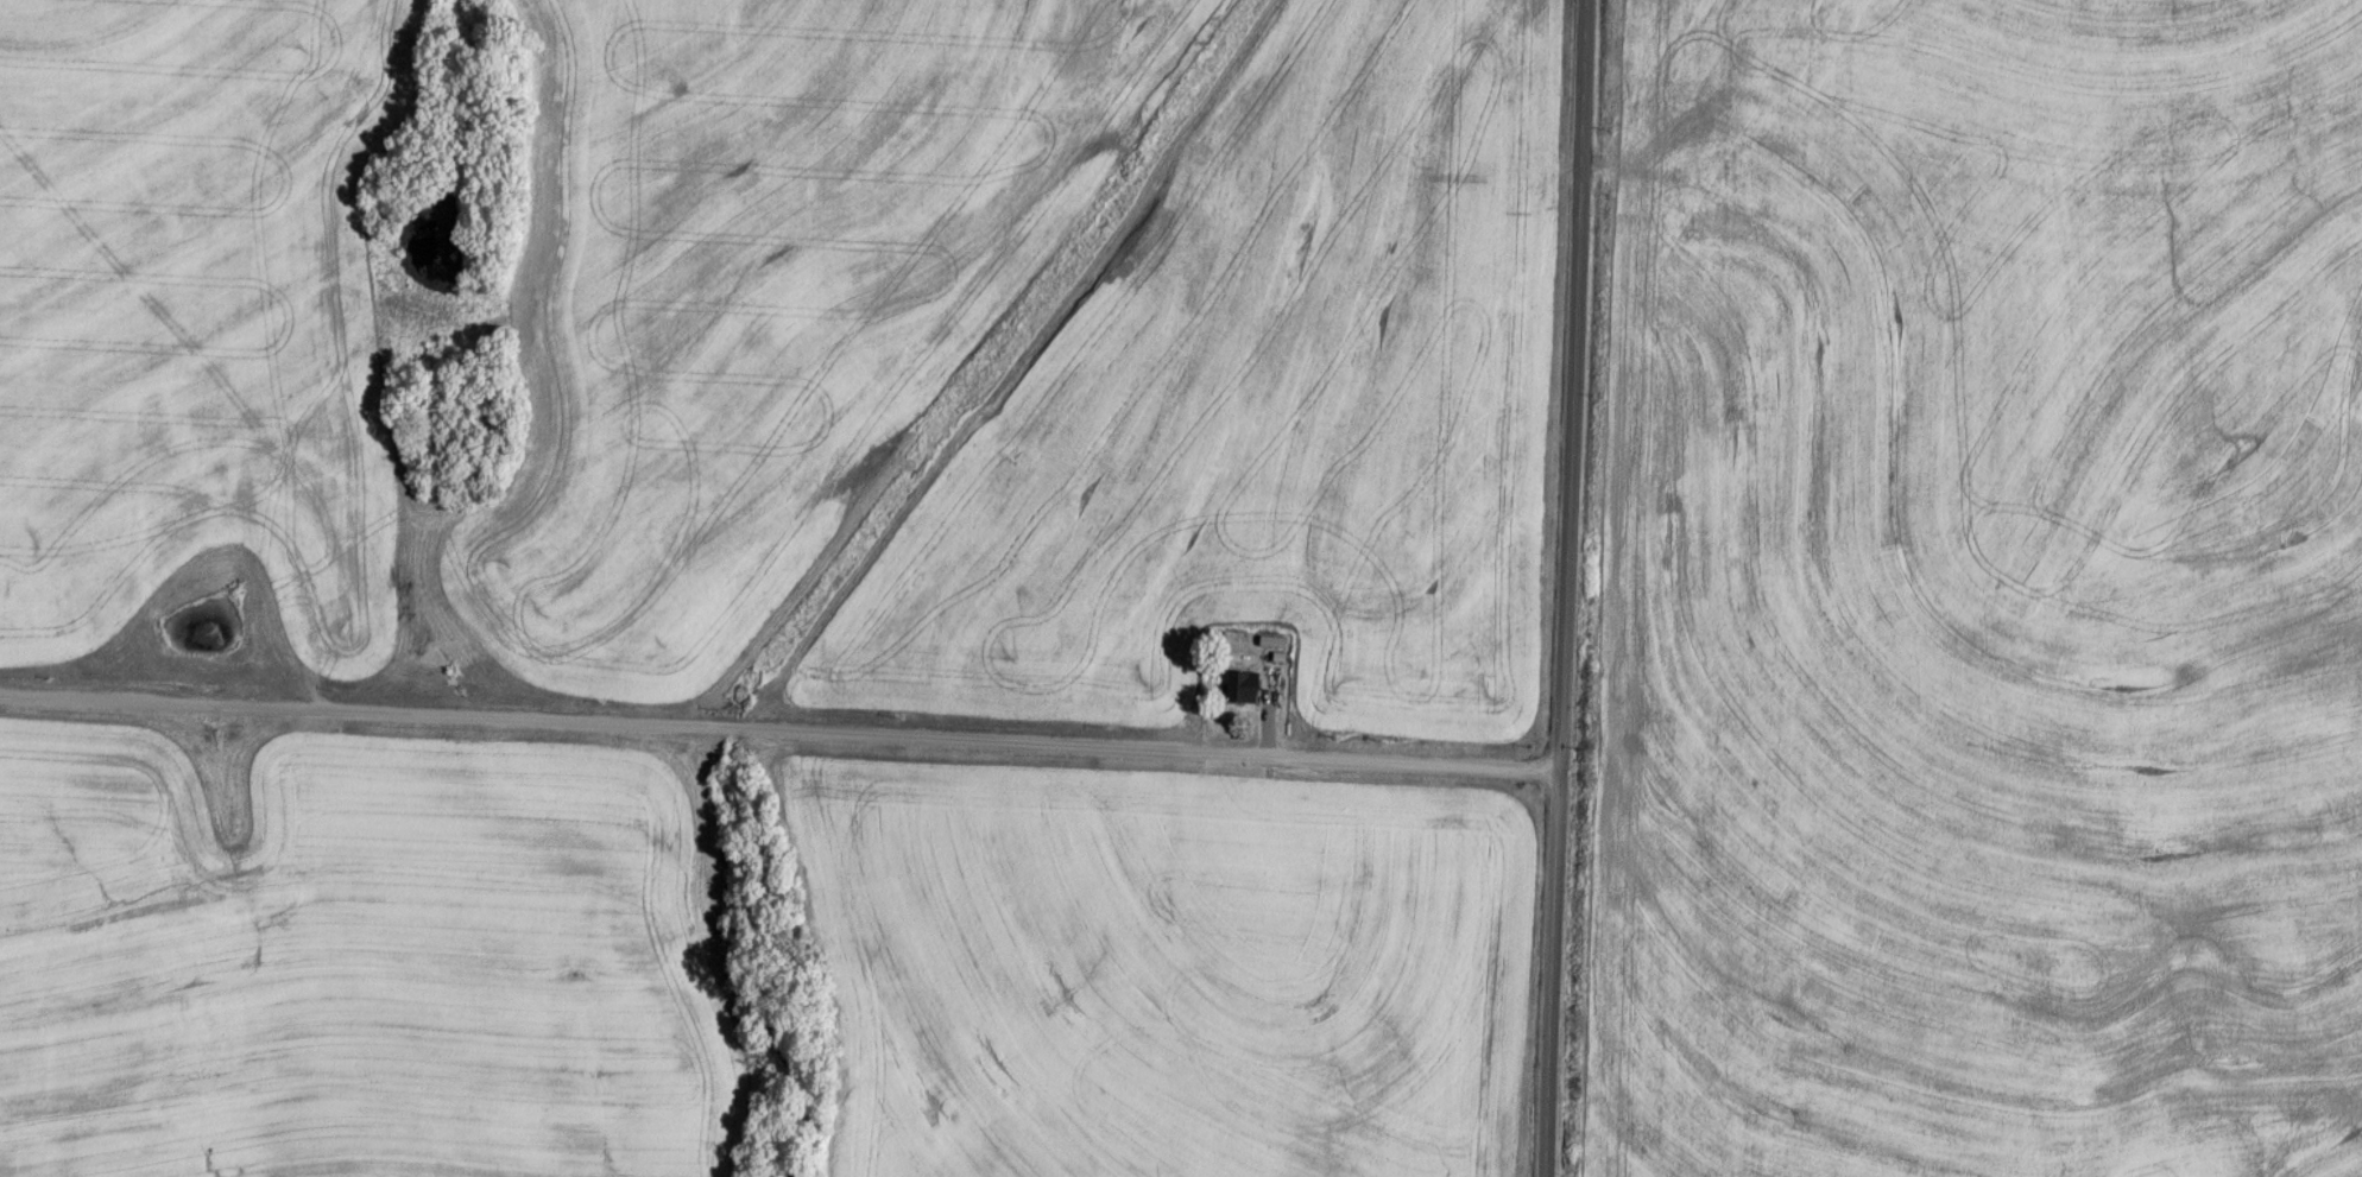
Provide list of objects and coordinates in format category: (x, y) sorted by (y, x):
road: (1565, 588)
building: (1248, 686)
road: (778, 726)

